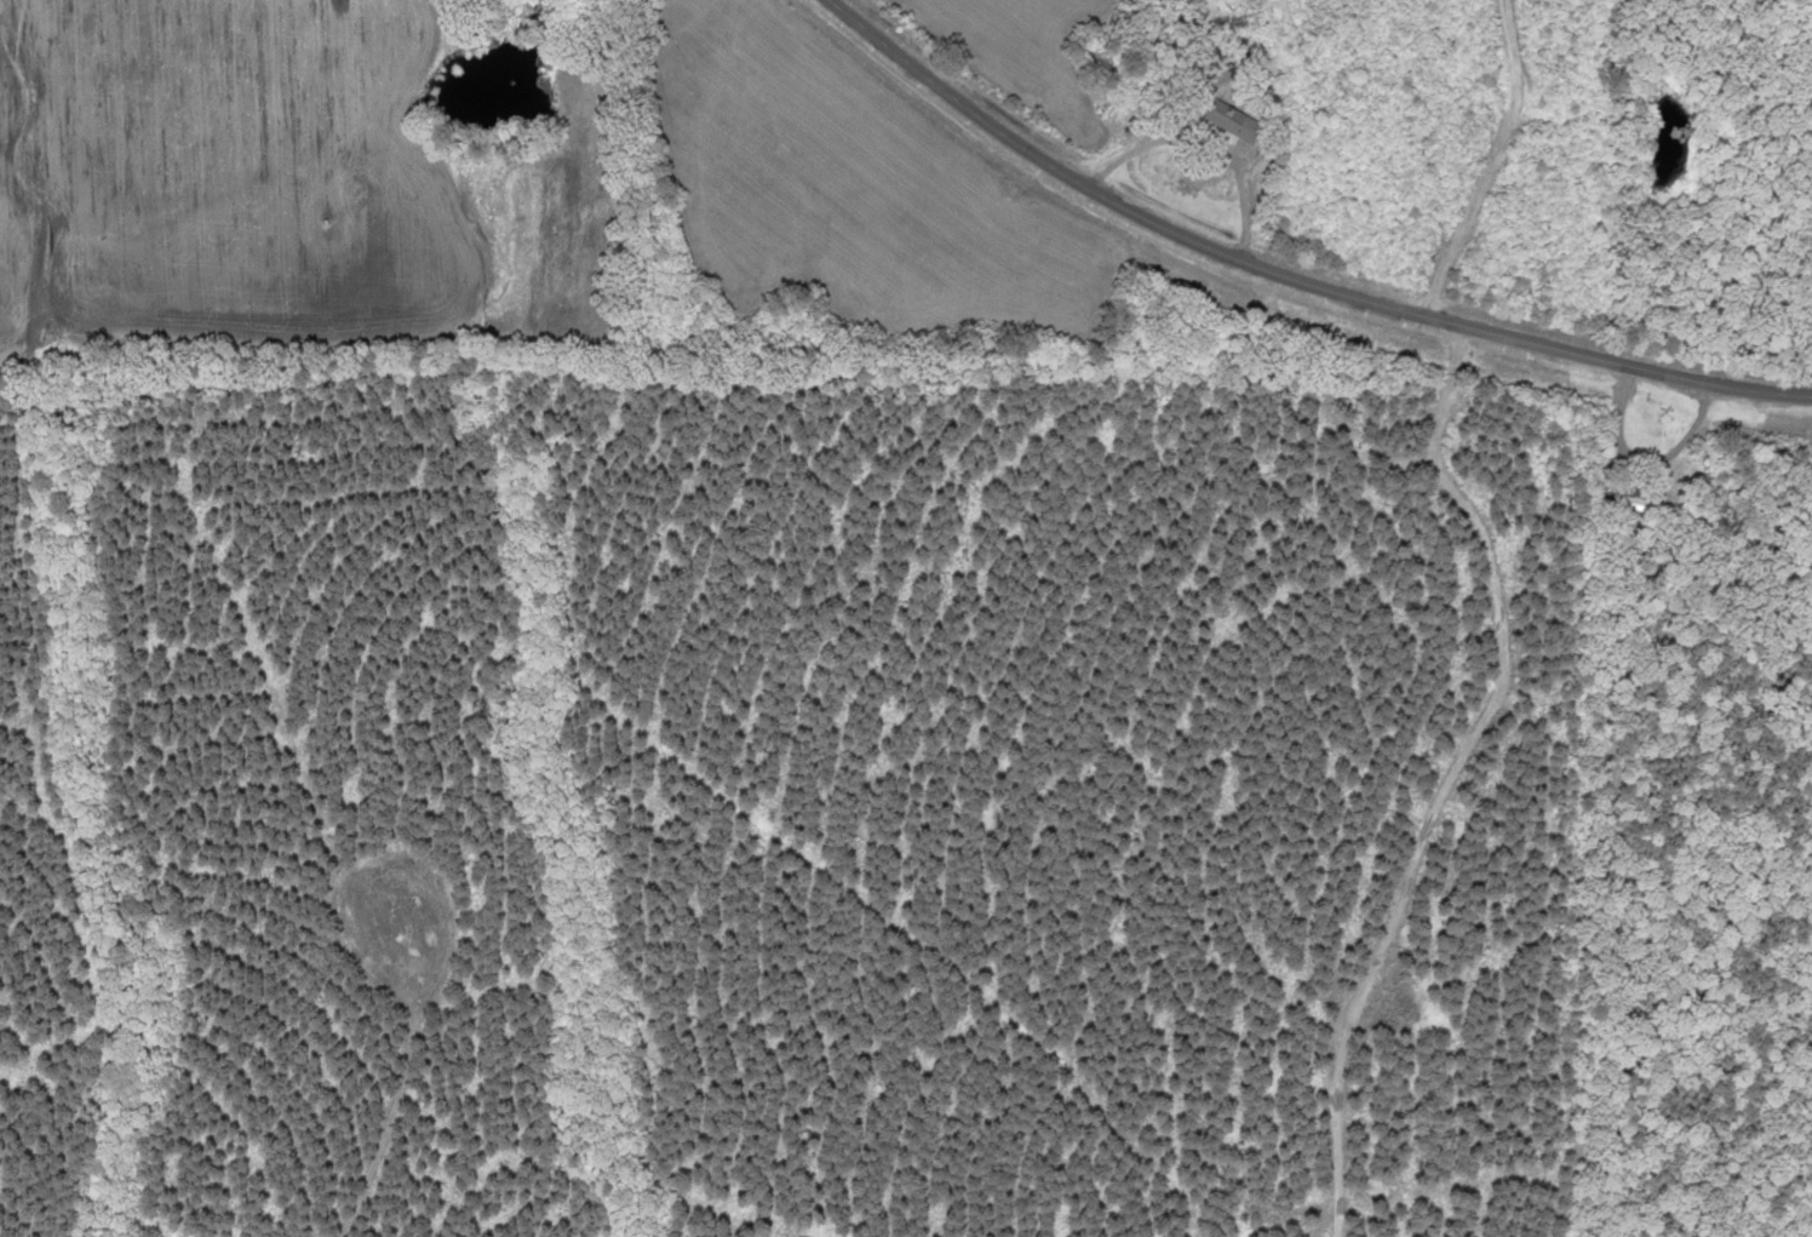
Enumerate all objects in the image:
building: (1226, 121)
road: (1317, 257)
building: (1640, 505)

